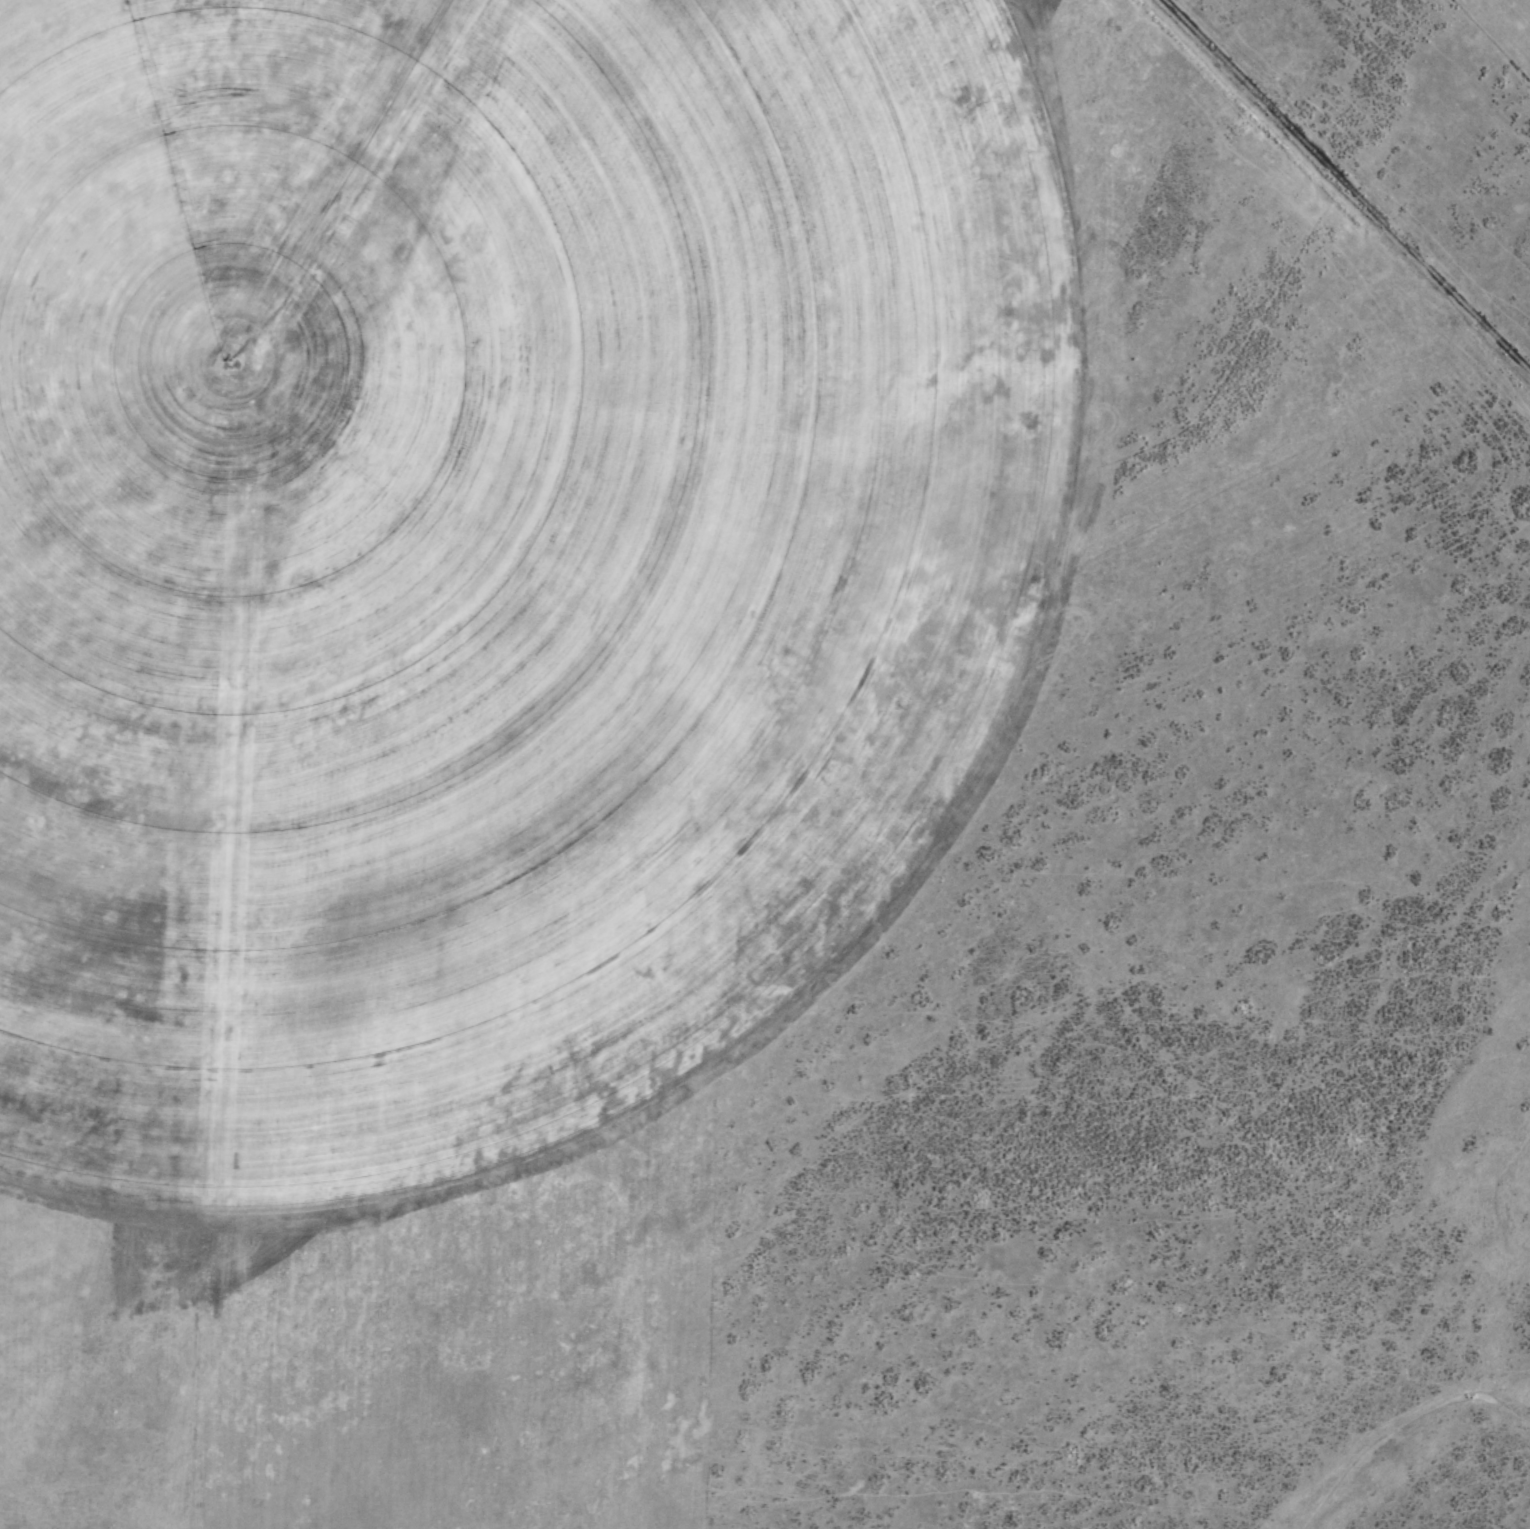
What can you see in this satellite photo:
railway: (1346, 186)
crop: (765, 764)

